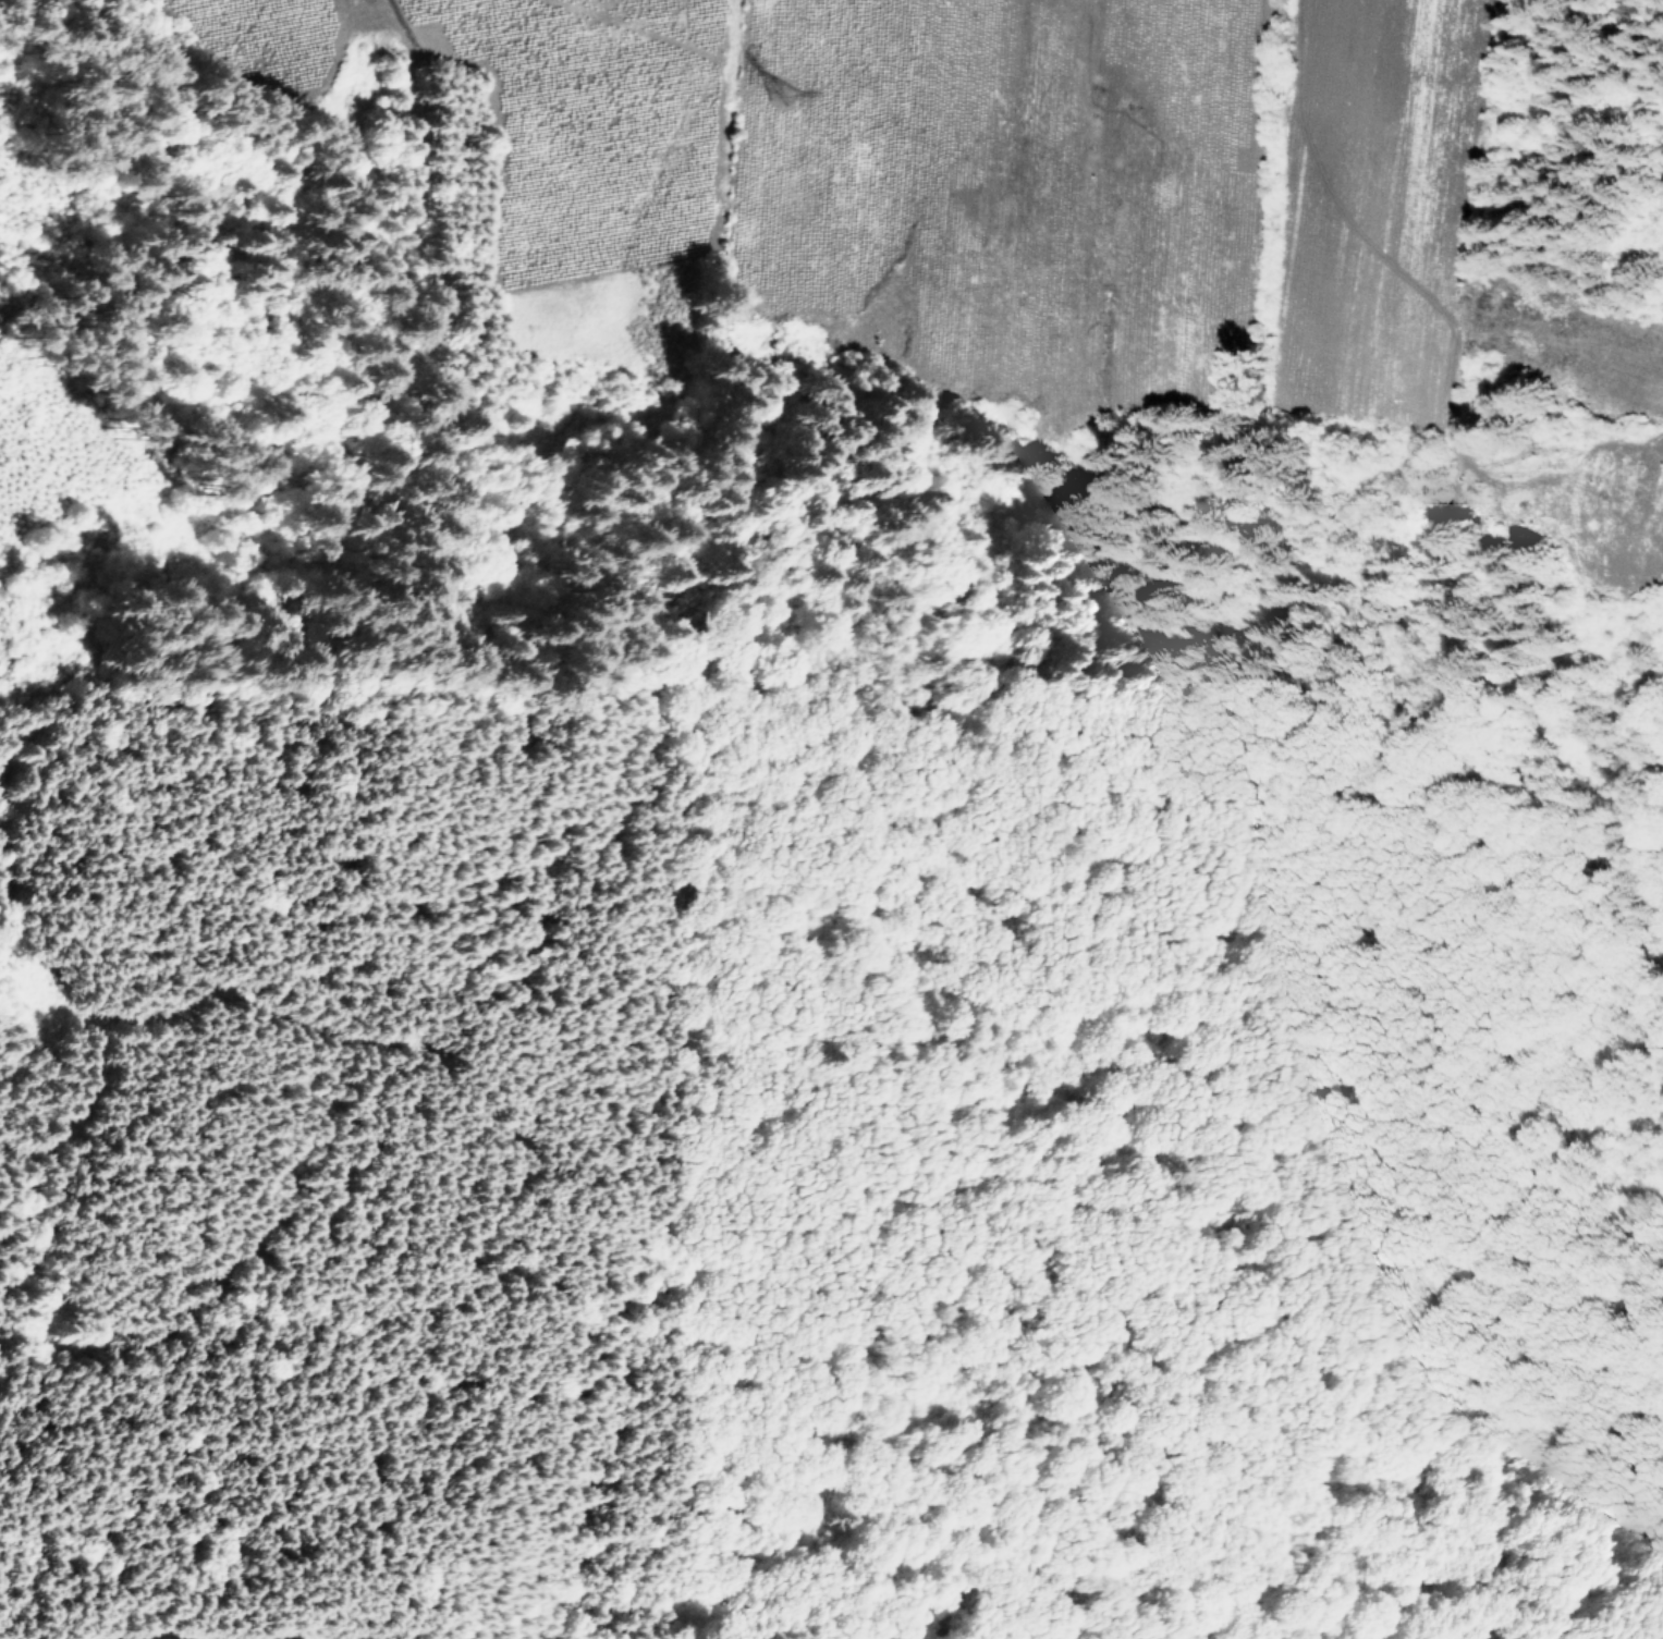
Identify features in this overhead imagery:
crop: (1177, 85)
power tower: (786, 99)
road: (414, 127)
road: (14, 244)
road: (301, 1020)
road: (103, 1080)

